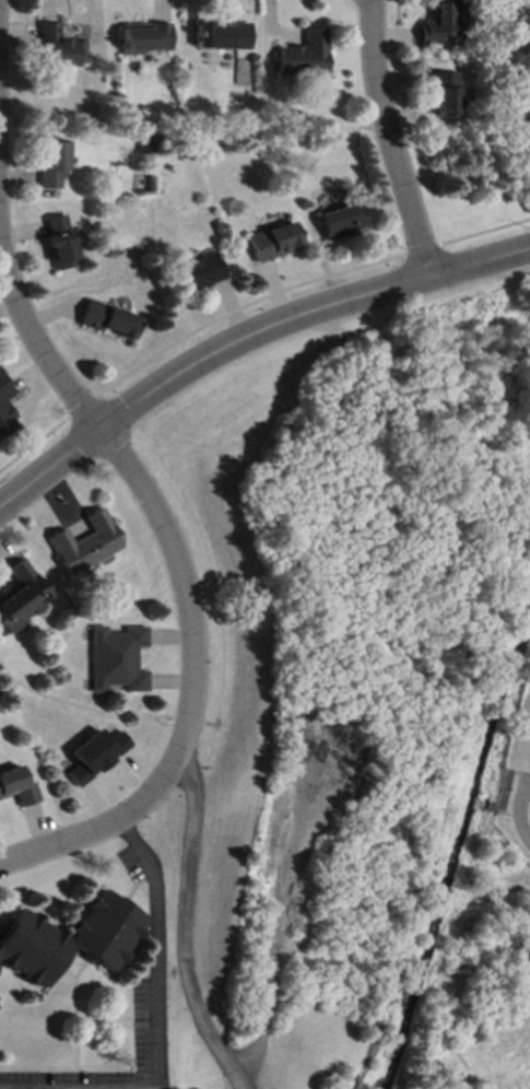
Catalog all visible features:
building: (440, 23)
building: (224, 37)
building: (148, 39)
building: (60, 48)
building: (305, 56)
building: (445, 95)
road: (389, 142)
building: (55, 163)
building: (341, 221)
building: (61, 243)
building: (272, 243)
building: (201, 272)
road: (246, 306)
building: (108, 320)
road: (33, 333)
road: (244, 340)
building: (7, 408)
building: (86, 543)
building: (22, 598)
park: (351, 644)
building: (117, 659)
road: (195, 693)
building: (95, 756)
building: (16, 787)
road: (412, 920)
road: (192, 922)
road: (273, 938)
building: (69, 940)
road: (156, 951)

